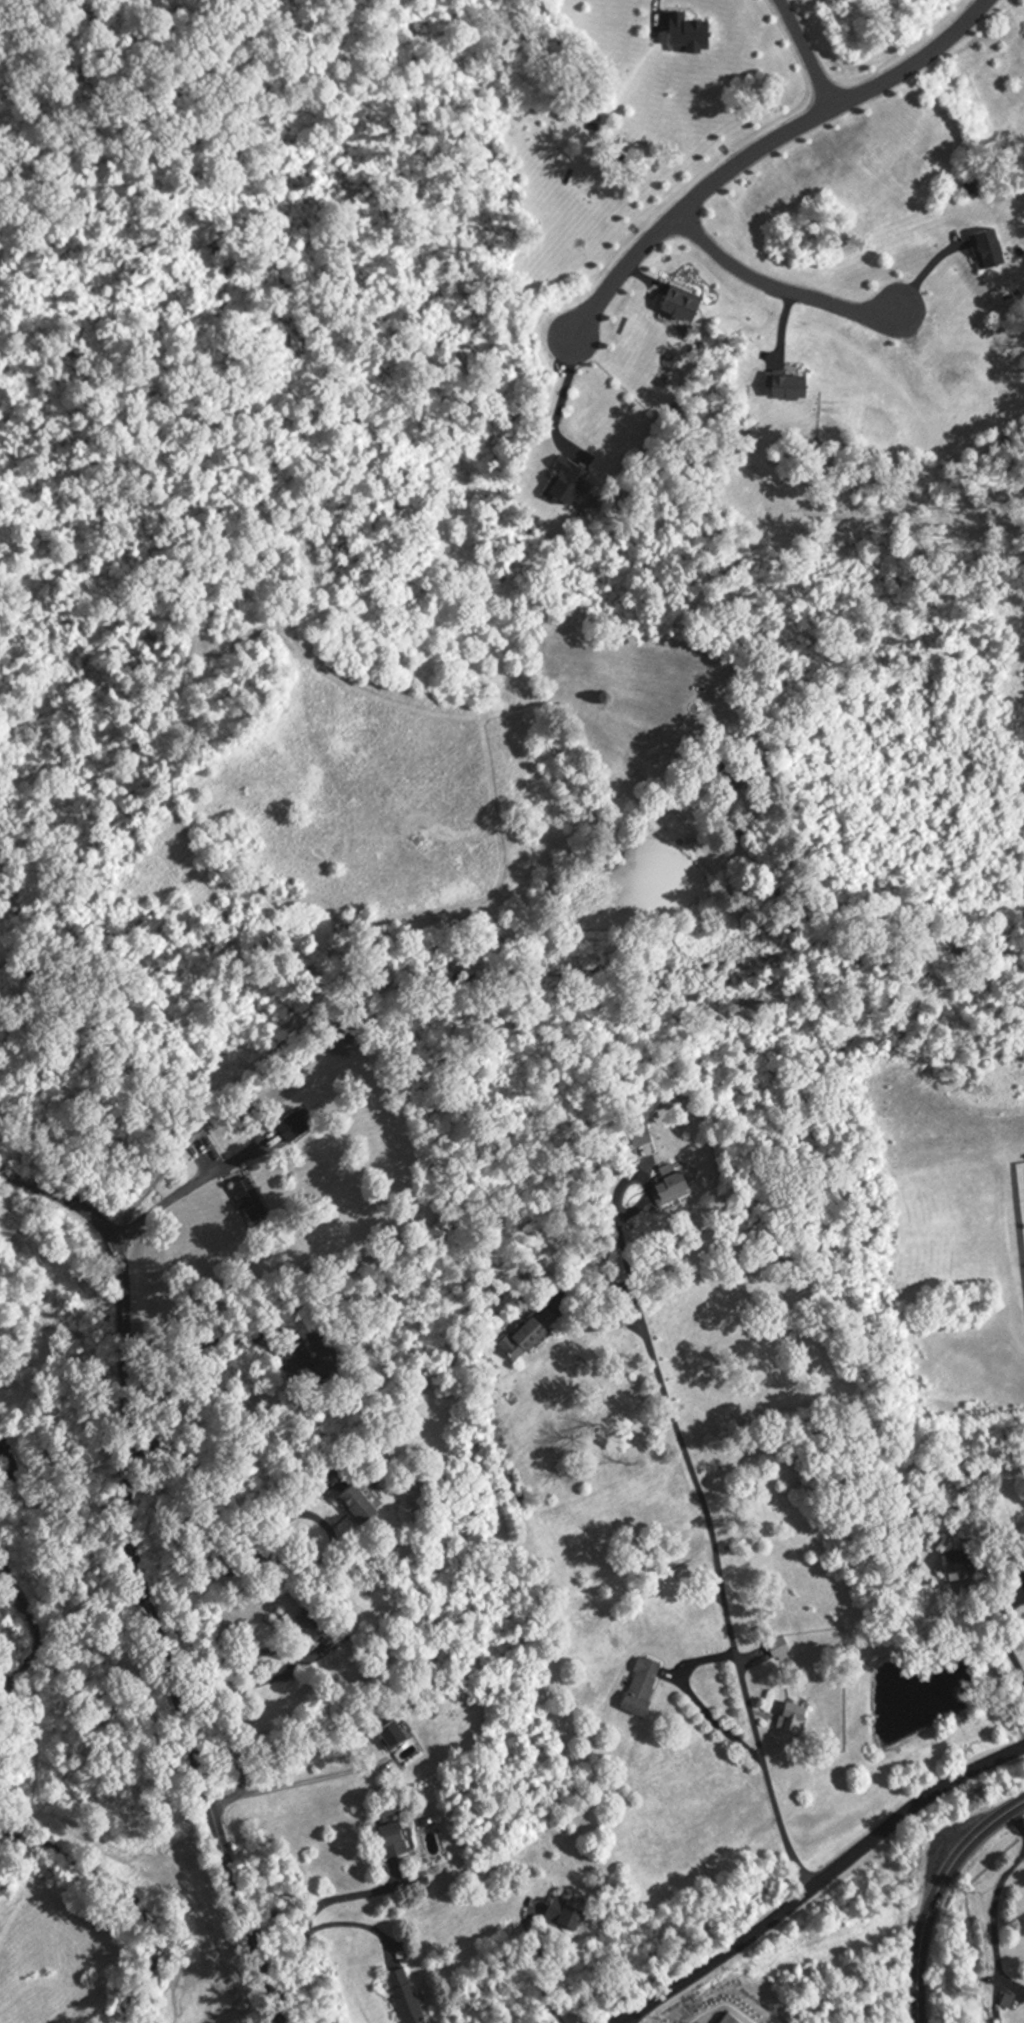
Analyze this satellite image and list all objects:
road: (658, 13)
building: (689, 37)
road: (804, 52)
road: (760, 145)
building: (989, 249)
road: (927, 270)
road: (776, 289)
building: (682, 306)
building: (789, 387)
road: (564, 392)
building: (569, 484)
road: (277, 884)
road: (857, 904)
road: (985, 956)
building: (340, 1051)
building: (671, 1189)
building: (250, 1202)
road: (624, 1215)
building: (530, 1335)
road: (192, 1347)
building: (357, 1508)
road: (254, 1558)
building: (962, 1564)
road: (135, 1571)
road: (716, 1575)
building: (313, 1627)
road: (1003, 1632)
building: (779, 1650)
road: (996, 1660)
road: (232, 1670)
building: (643, 1689)
road: (692, 1700)
building: (793, 1720)
building: (392, 1737)
road: (285, 1787)
road: (1015, 1824)
building: (390, 1830)
road: (820, 1880)
road: (934, 1894)
building: (566, 1913)
road: (312, 1915)
road: (357, 1922)
road: (995, 1925)
road: (541, 1965)
building: (405, 1996)

